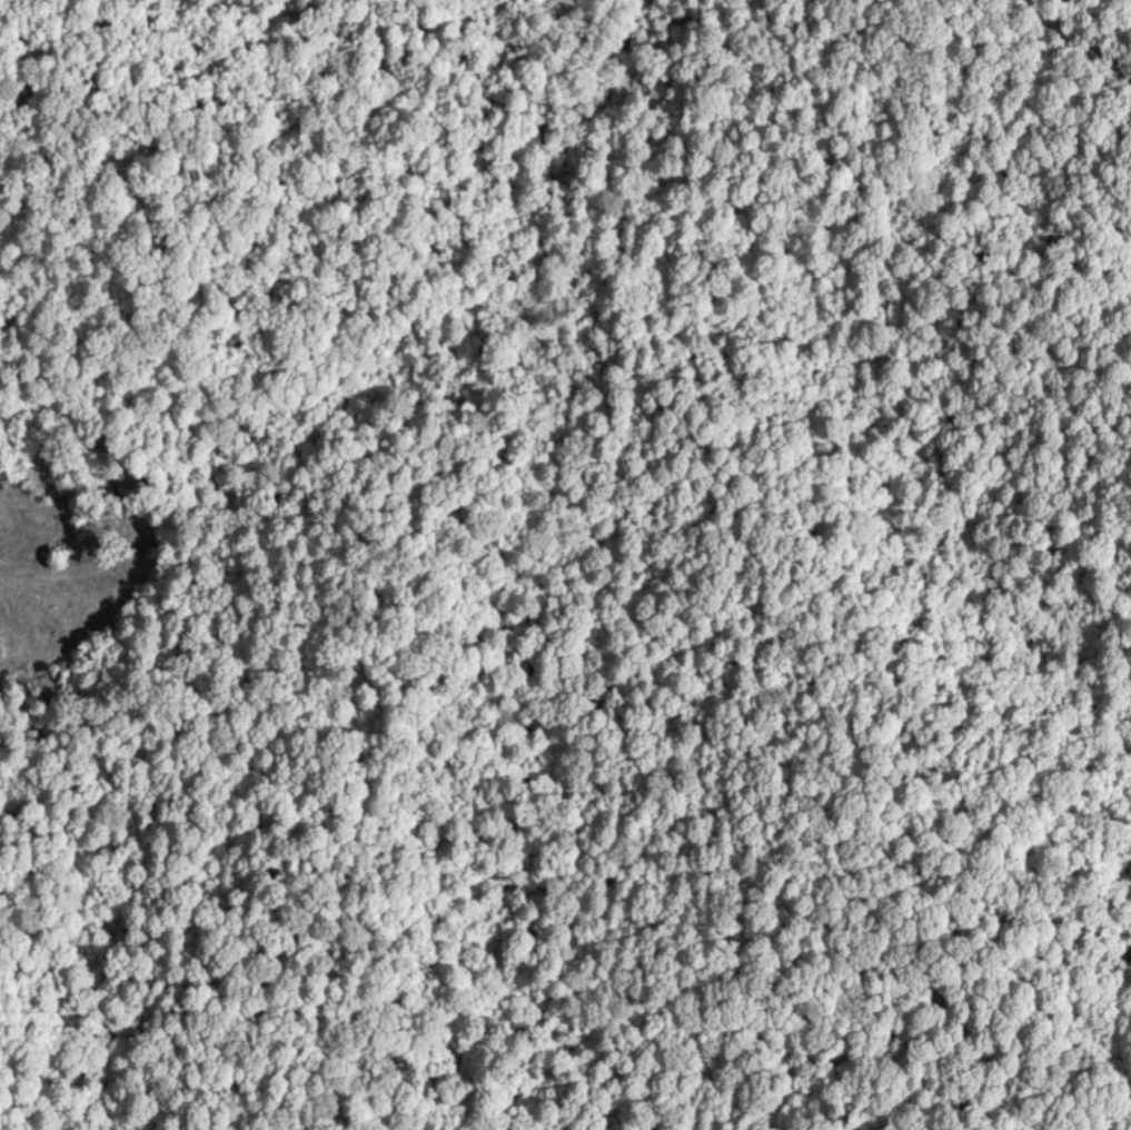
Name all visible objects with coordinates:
road: (1070, 57)

